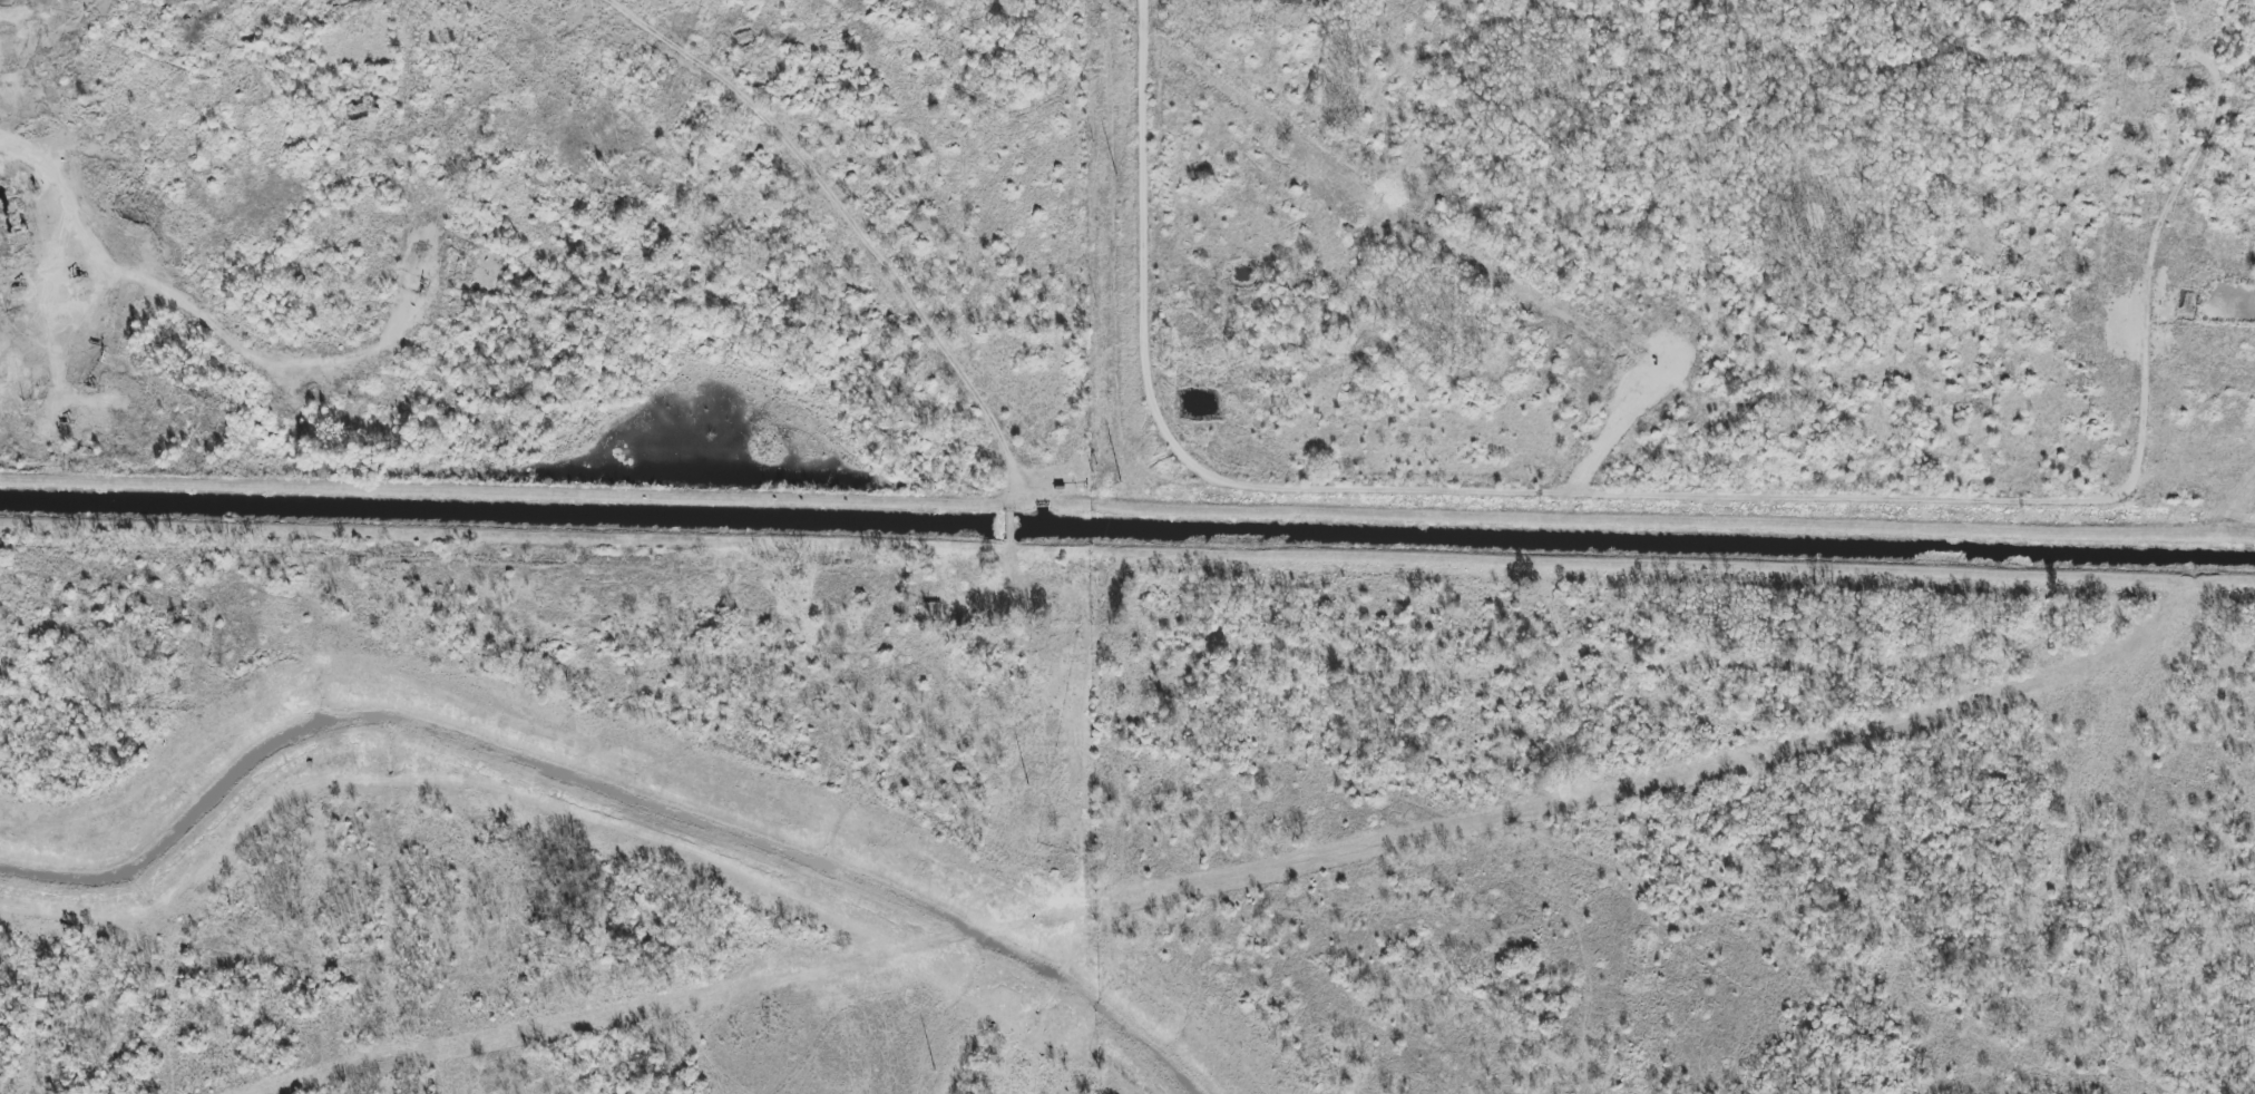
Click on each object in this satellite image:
road: (861, 226)

